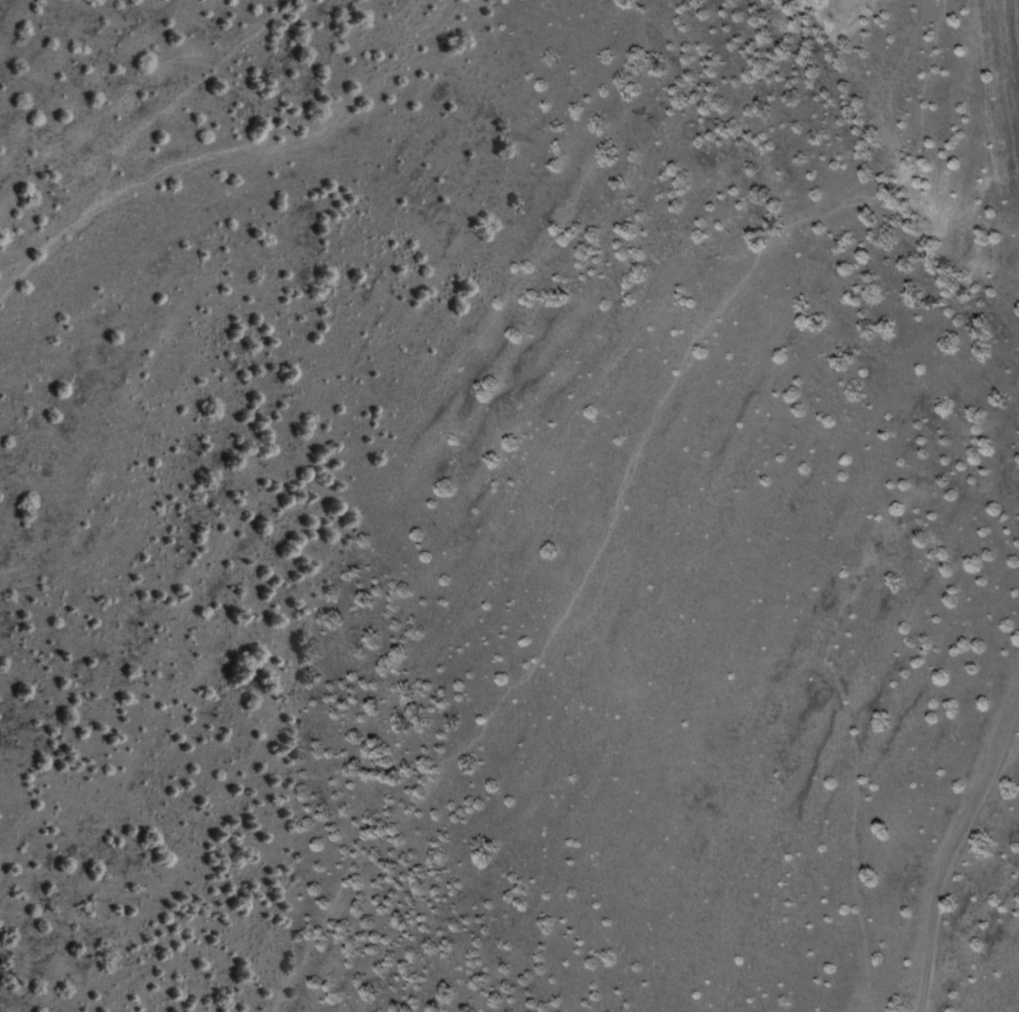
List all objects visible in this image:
road: (1014, 31)
road: (949, 843)

